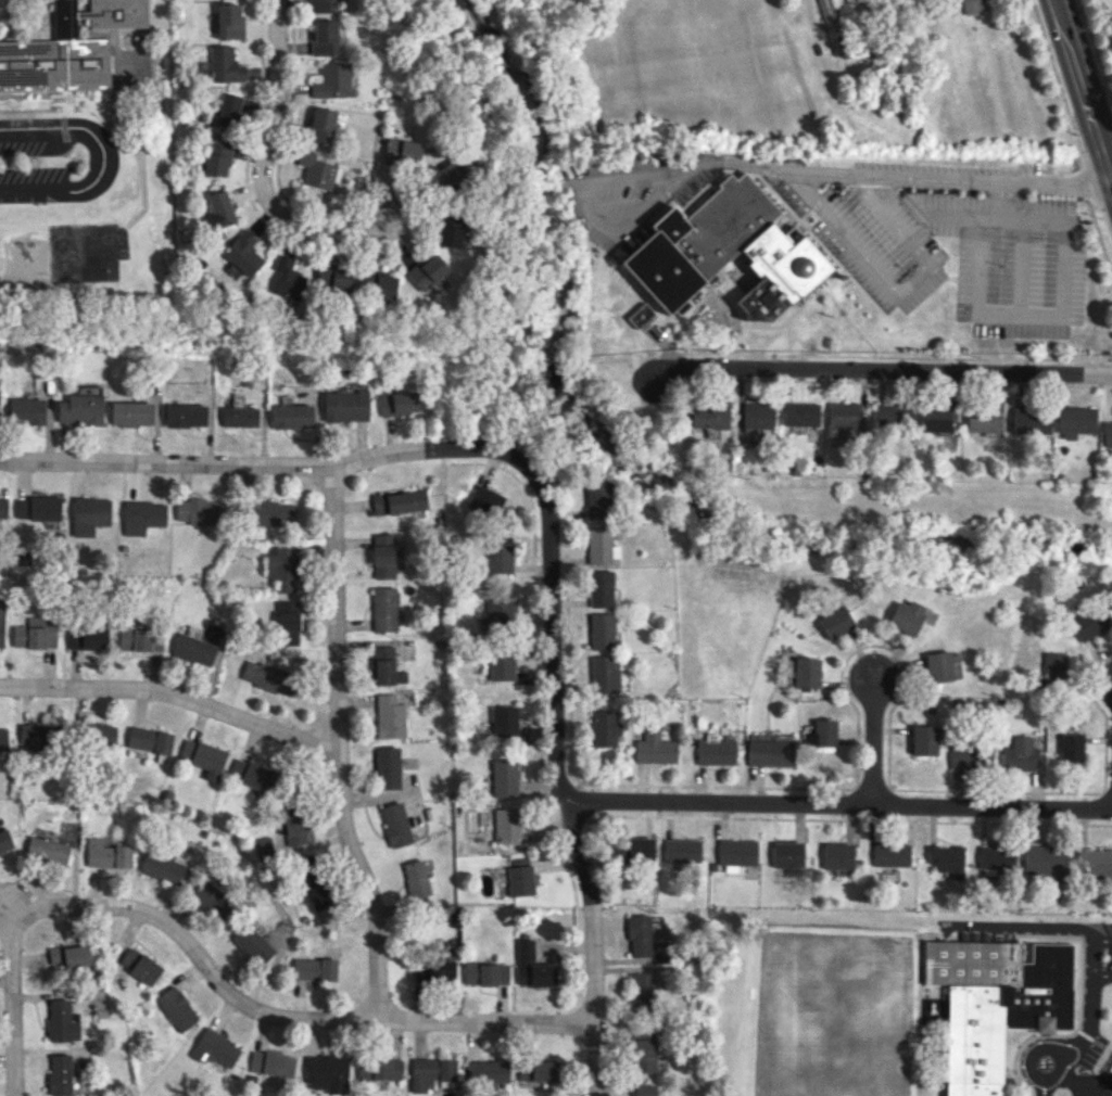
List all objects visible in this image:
building: (320, 5)
building: (971, 5)
building: (229, 21)
building: (833, 25)
building: (323, 37)
park: (1099, 41)
building: (67, 48)
building: (224, 64)
building: (331, 80)
road: (1085, 89)
building: (228, 110)
building: (319, 124)
building: (336, 128)
building: (401, 152)
road: (264, 155)
building: (216, 156)
road: (102, 157)
building: (318, 170)
building: (446, 175)
road: (907, 176)
road: (1006, 199)
road: (590, 204)
building: (219, 208)
road: (1000, 215)
road: (404, 221)
building: (447, 228)
building: (728, 252)
building: (242, 253)
road: (1022, 266)
building: (426, 271)
building: (841, 276)
building: (287, 278)
building: (333, 279)
building: (368, 282)
building: (384, 285)
road: (896, 286)
building: (641, 315)
road: (1020, 316)
road: (890, 367)
road: (659, 392)
building: (396, 403)
building: (344, 406)
building: (79, 409)
building: (25, 410)
building: (130, 413)
building: (801, 413)
building: (893, 413)
building: (184, 415)
building: (758, 415)
building: (843, 415)
building: (290, 416)
building: (710, 416)
building: (239, 417)
building: (934, 419)
building: (981, 419)
building: (1031, 420)
building: (1076, 421)
building: (1107, 434)
road: (255, 463)
building: (597, 500)
building: (397, 501)
building: (482, 502)
building: (2, 507)
building: (39, 509)
building: (199, 511)
building: (266, 512)
building: (88, 514)
building: (141, 515)
building: (599, 546)
building: (381, 556)
building: (497, 559)
building: (281, 569)
building: (598, 588)
building: (383, 608)
building: (498, 611)
building: (906, 615)
building: (835, 621)
building: (1, 622)
building: (287, 623)
building: (1087, 623)
building: (599, 630)
building: (35, 633)
building: (87, 637)
building: (139, 639)
building: (193, 649)
building: (1053, 665)
building: (386, 666)
building: (500, 666)
building: (938, 666)
building: (806, 672)
building: (603, 673)
building: (268, 677)
road: (173, 696)
building: (389, 716)
building: (503, 721)
building: (604, 727)
building: (821, 732)
building: (99, 734)
building: (35, 736)
building: (2, 739)
building: (149, 739)
building: (923, 740)
road: (870, 743)
road: (338, 745)
building: (1070, 745)
building: (654, 748)
building: (713, 750)
building: (769, 752)
building: (1020, 754)
building: (203, 756)
building: (970, 756)
building: (386, 767)
road: (555, 770)
building: (251, 774)
building: (504, 777)
road: (835, 805)
building: (292, 823)
building: (394, 825)
building: (506, 826)
building: (45, 833)
building: (4, 840)
building: (266, 844)
building: (47, 850)
building: (637, 850)
building: (682, 850)
building: (735, 853)
building: (106, 854)
building: (787, 854)
building: (889, 854)
building: (837, 855)
building: (946, 858)
building: (1046, 861)
building: (1095, 862)
building: (712, 866)
building: (161, 867)
building: (418, 880)
building: (519, 880)
building: (311, 882)
road: (14, 894)
building: (211, 899)
road: (1031, 923)
road: (5, 929)
building: (639, 935)
building: (252, 944)
building: (67, 955)
road: (1089, 958)
building: (139, 965)
building: (531, 966)
building: (314, 969)
building: (433, 971)
building: (485, 973)
building: (637, 990)
building: (994, 1003)
building: (175, 1007)
road: (14, 1009)
park: (833, 1015)
road: (278, 1017)
building: (60, 1021)
road: (1079, 1037)
building: (216, 1048)
road: (1033, 1049)
building: (643, 1055)
building: (271, 1062)
building: (379, 1068)
building: (485, 1070)
building: (536, 1070)
building: (326, 1072)
building: (430, 1072)
building: (59, 1074)
building: (1111, 1084)
building: (643, 1089)

